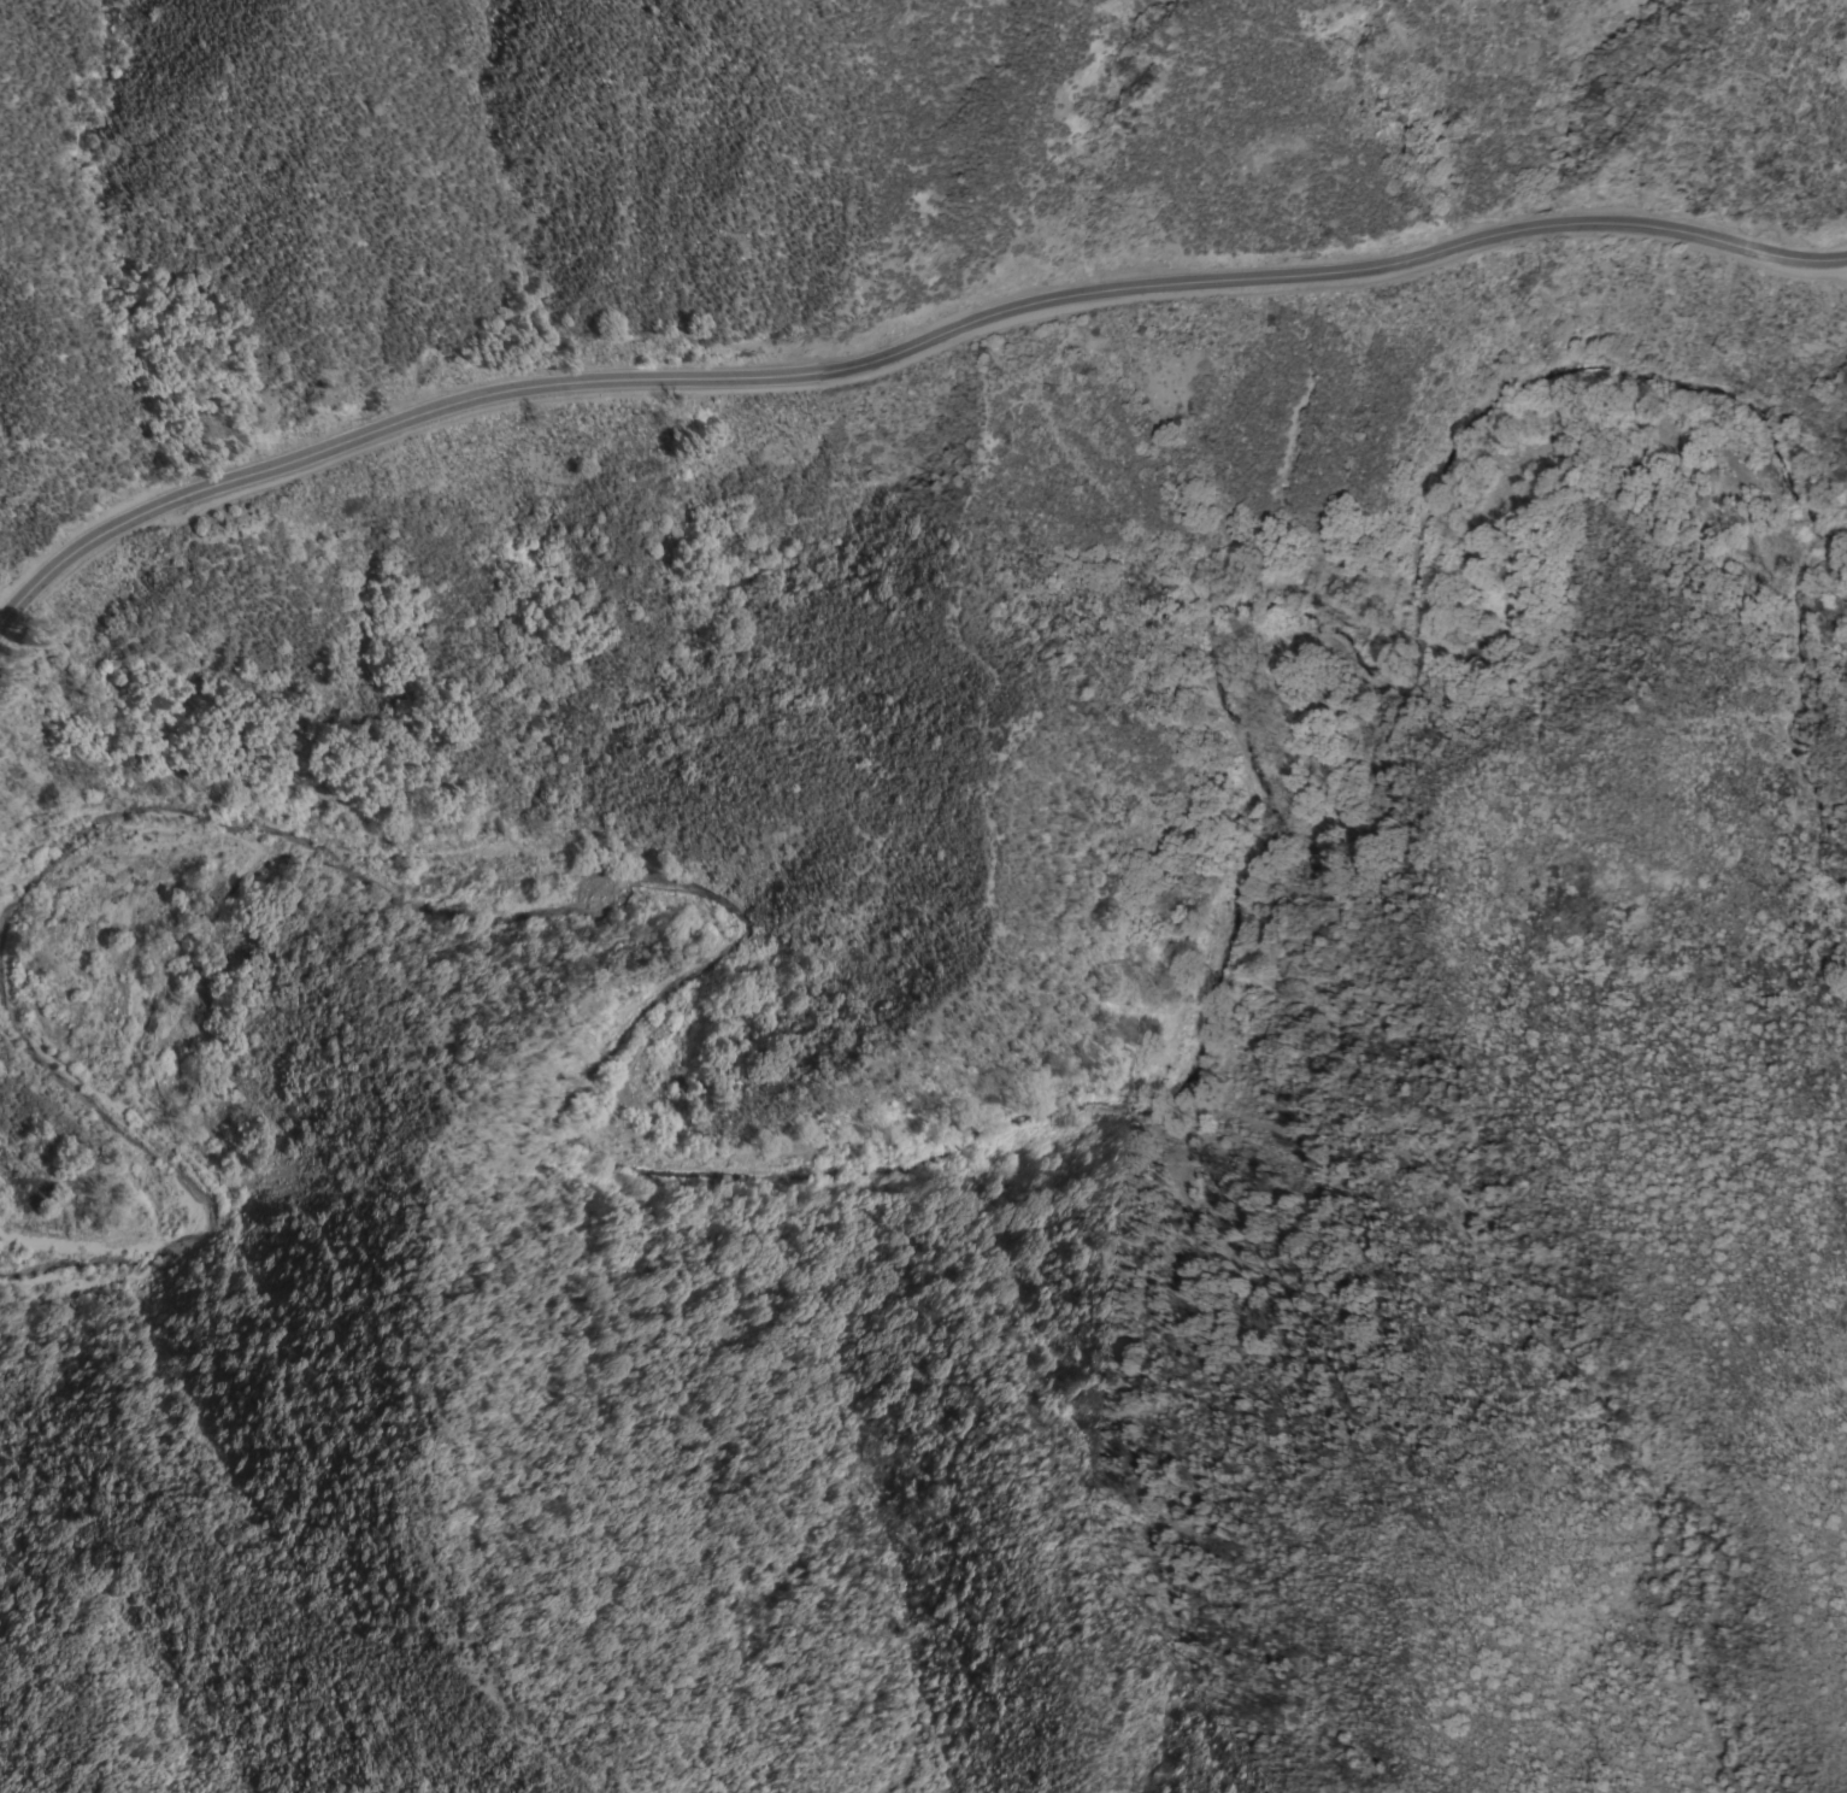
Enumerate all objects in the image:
road: (890, 351)

